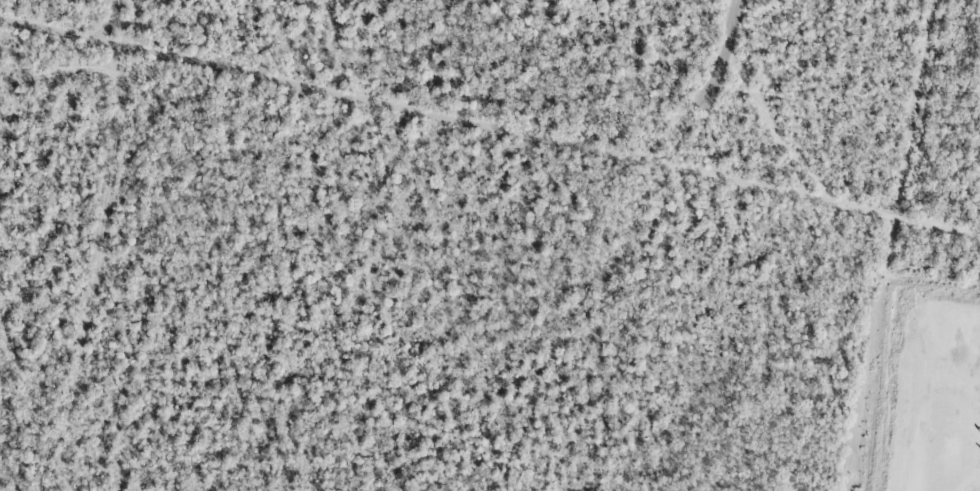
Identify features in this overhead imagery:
road: (898, 490)

